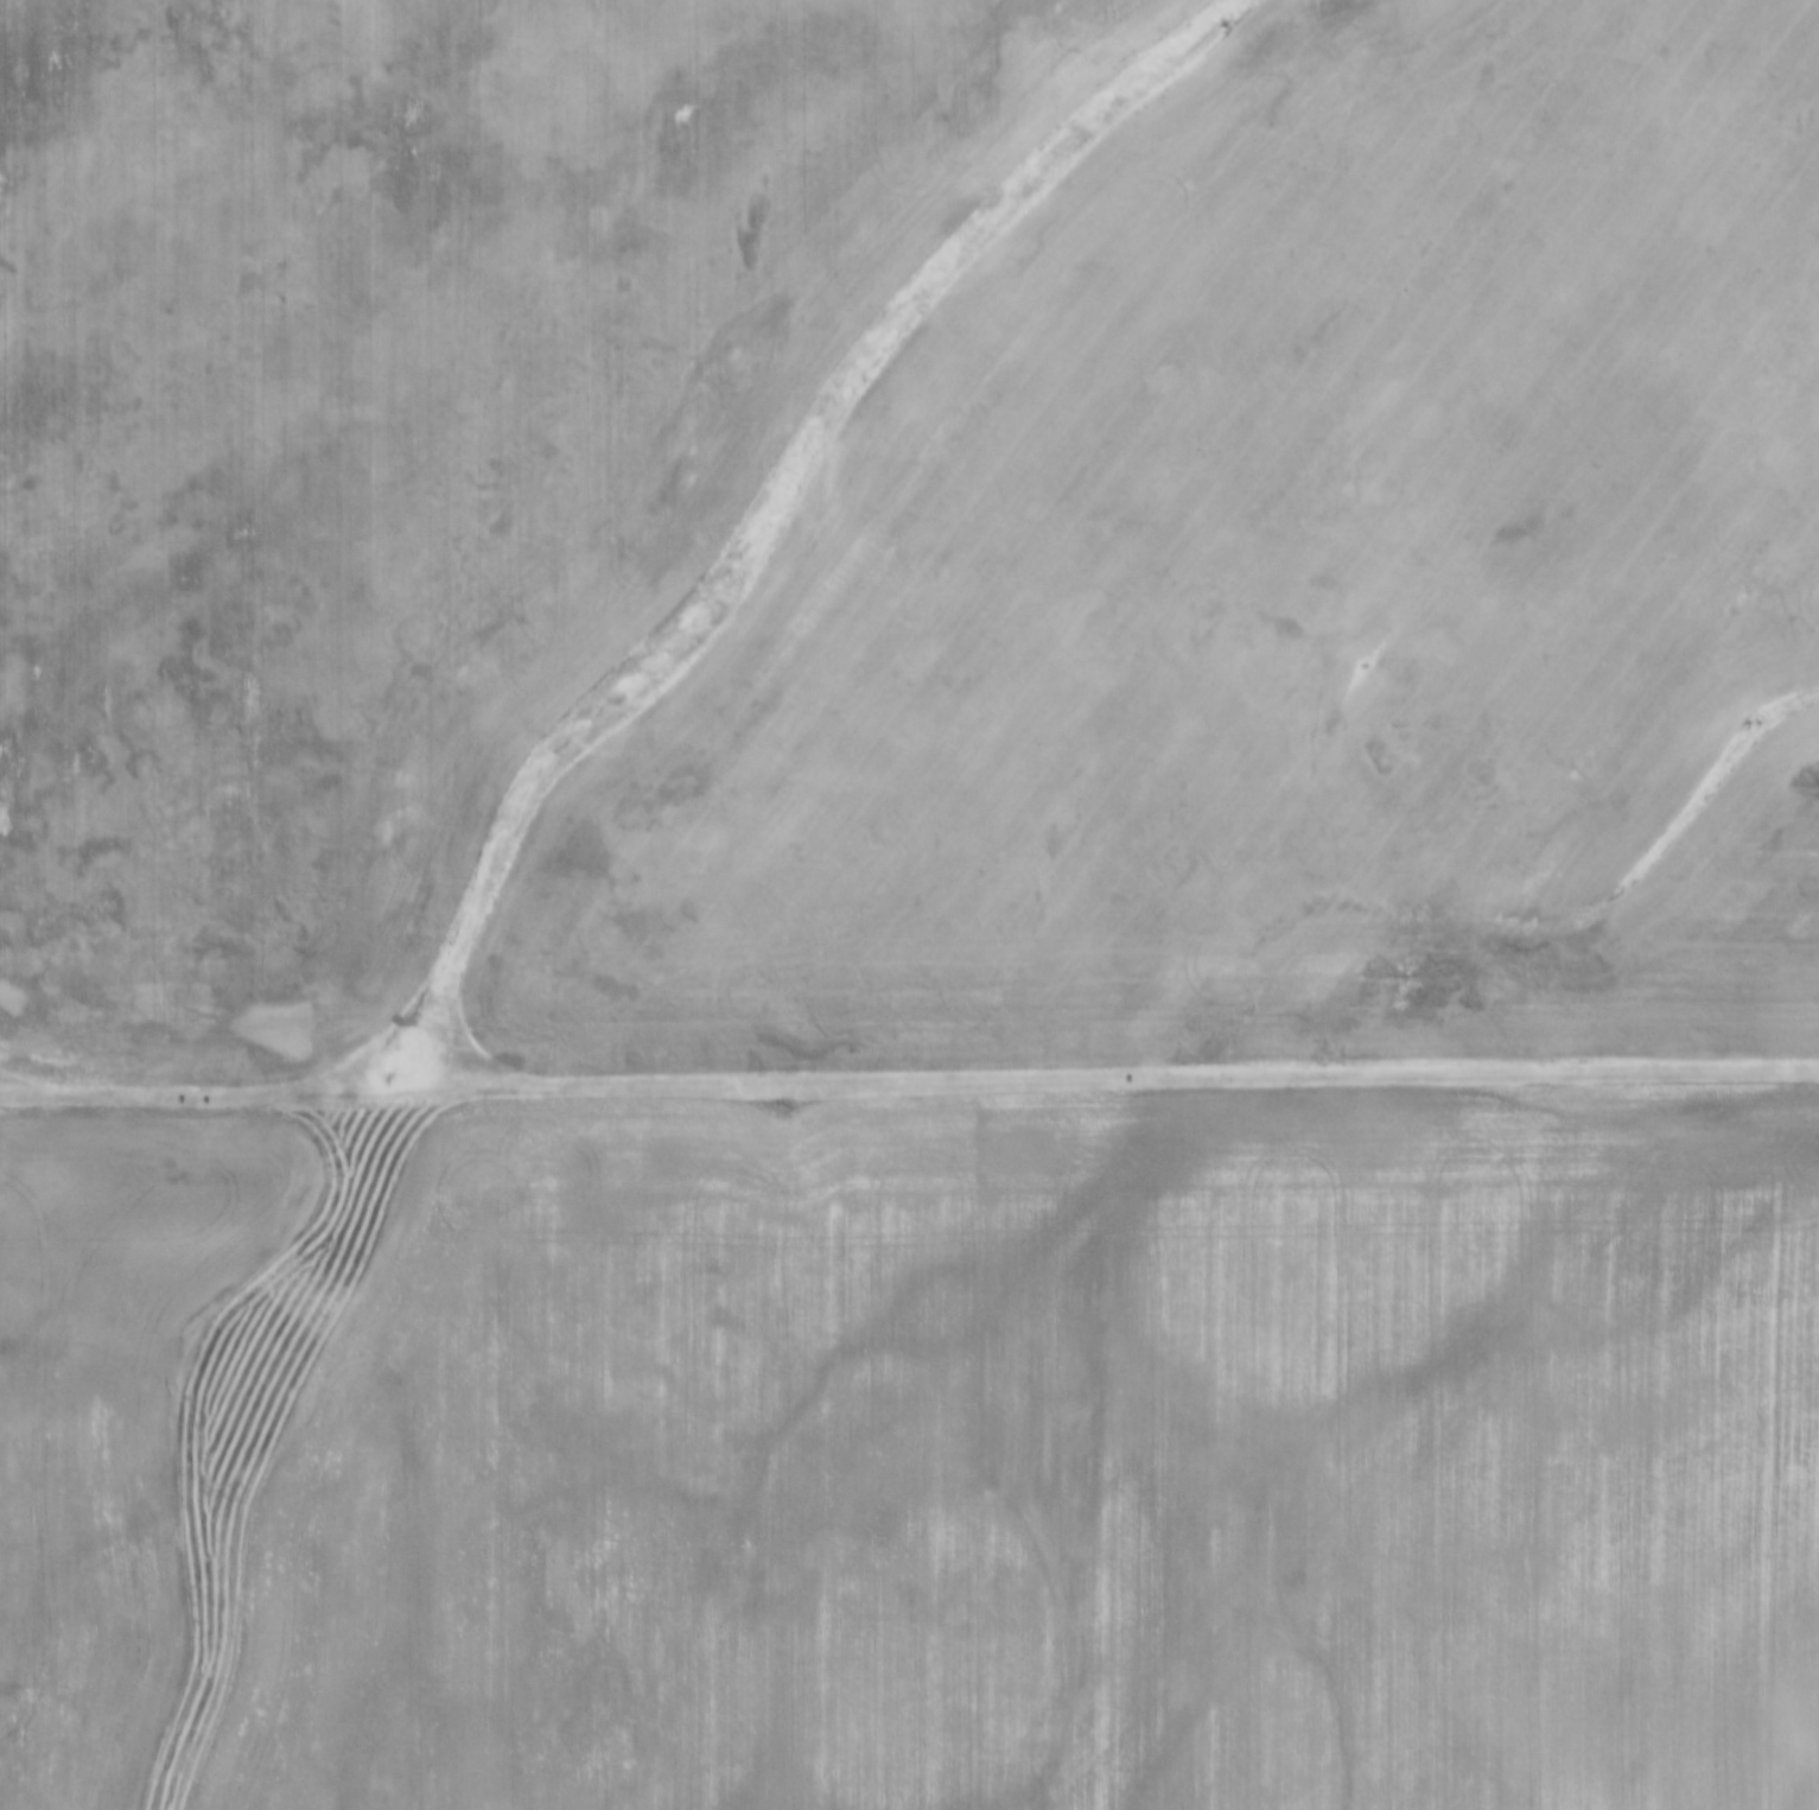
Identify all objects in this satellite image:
road: (909, 1106)

